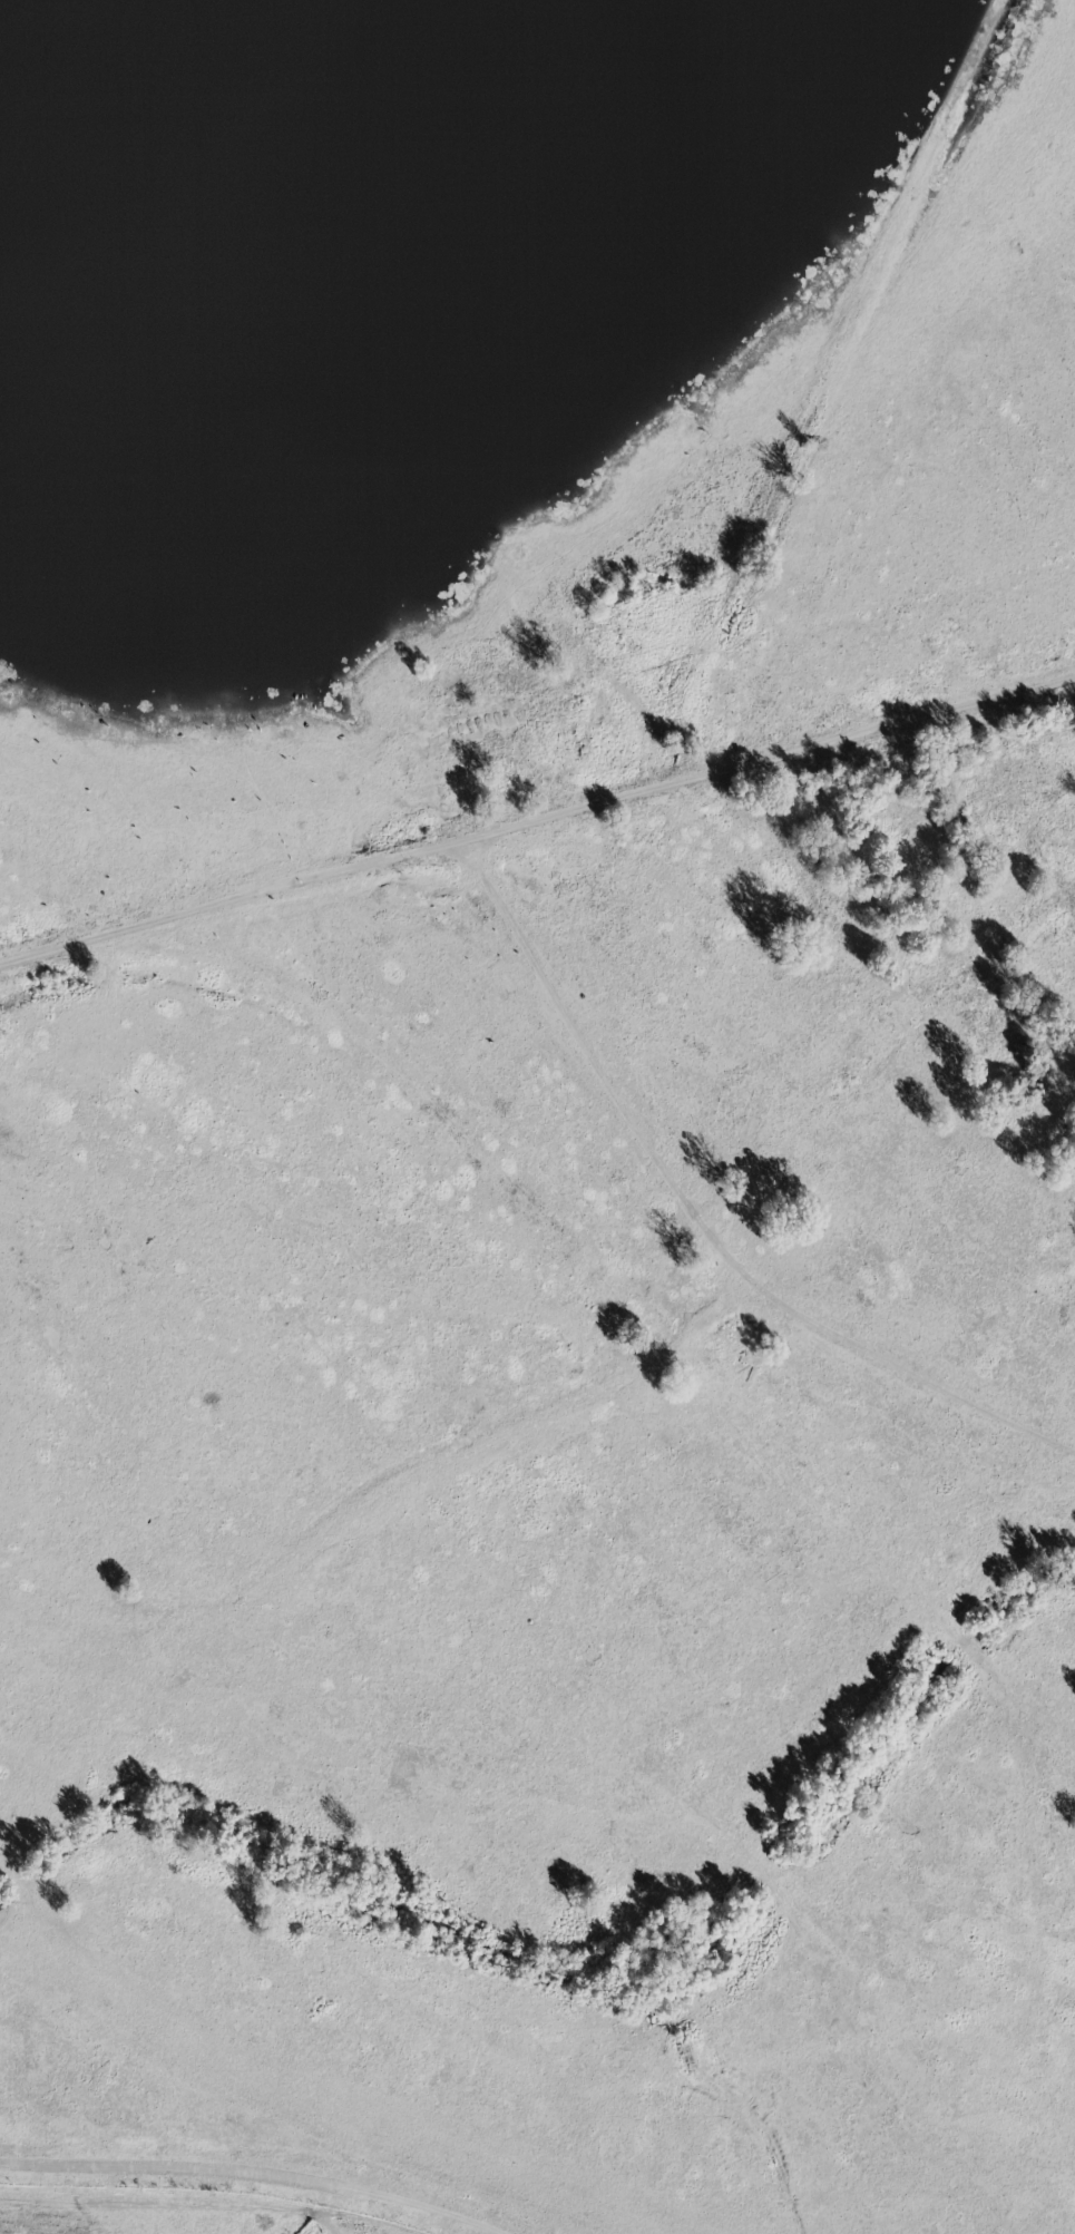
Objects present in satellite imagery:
road: (756, 757)
road: (218, 901)
road: (217, 2192)

